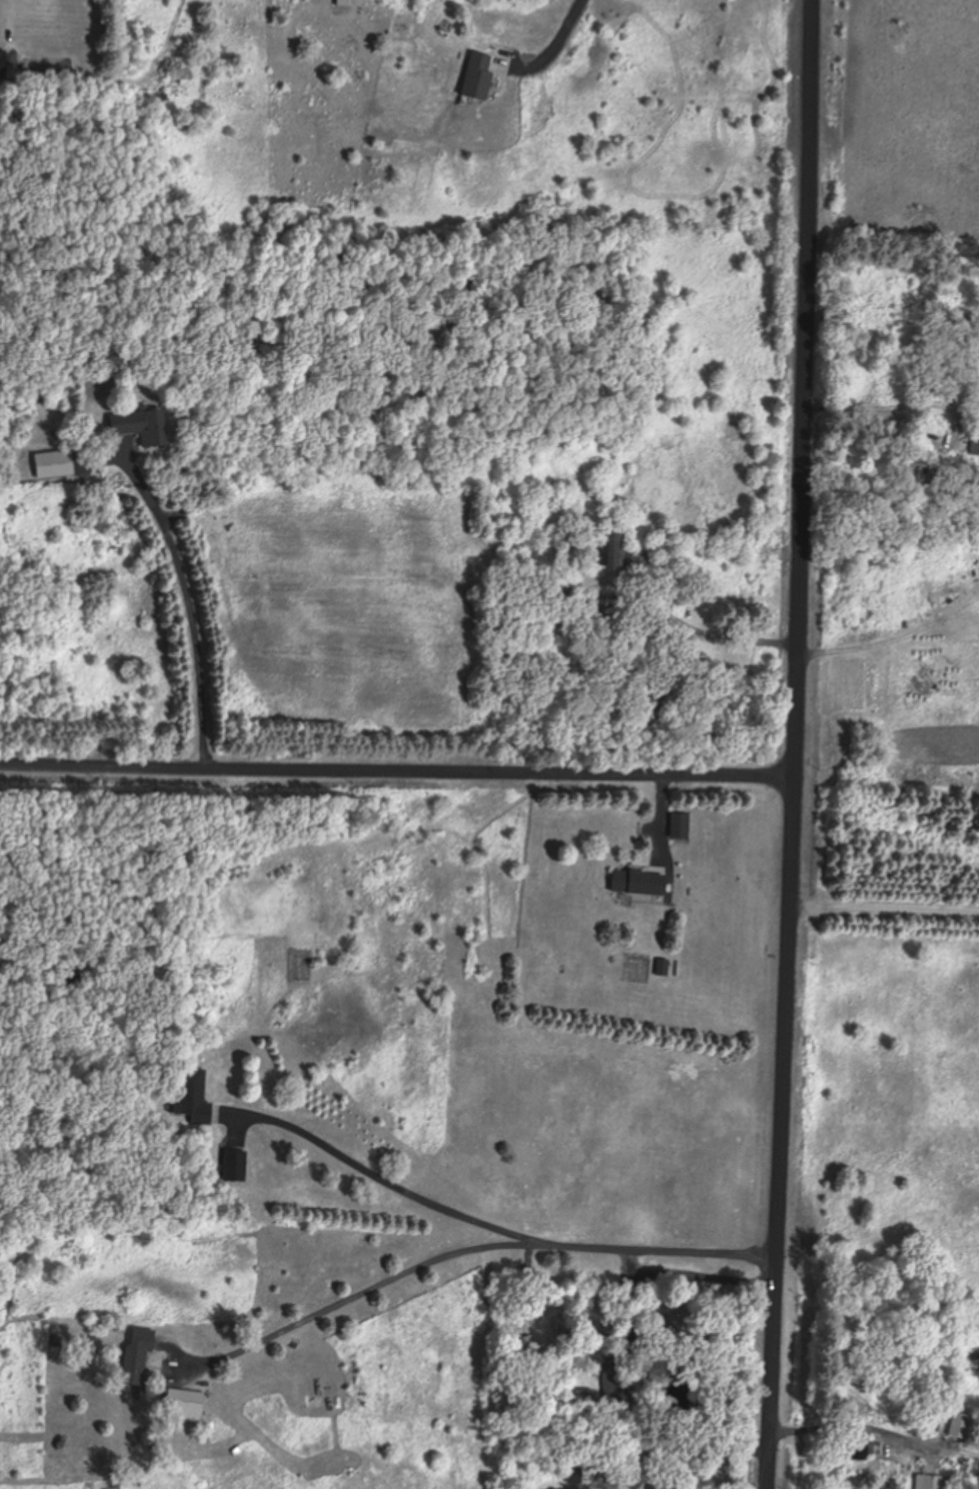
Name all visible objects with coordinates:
building: (0, 71)
building: (473, 76)
building: (138, 427)
building: (558, 436)
building: (52, 465)
building: (911, 473)
building: (614, 554)
building: (654, 700)
road: (797, 744)
road: (398, 773)
building: (680, 827)
building: (636, 883)
building: (191, 1098)
building: (233, 1167)
building: (527, 1280)
building: (524, 1352)
building: (134, 1356)
building: (616, 1386)
building: (588, 1399)
building: (180, 1406)
building: (957, 1426)
building: (857, 1452)
building: (930, 1482)
building: (661, 1486)

